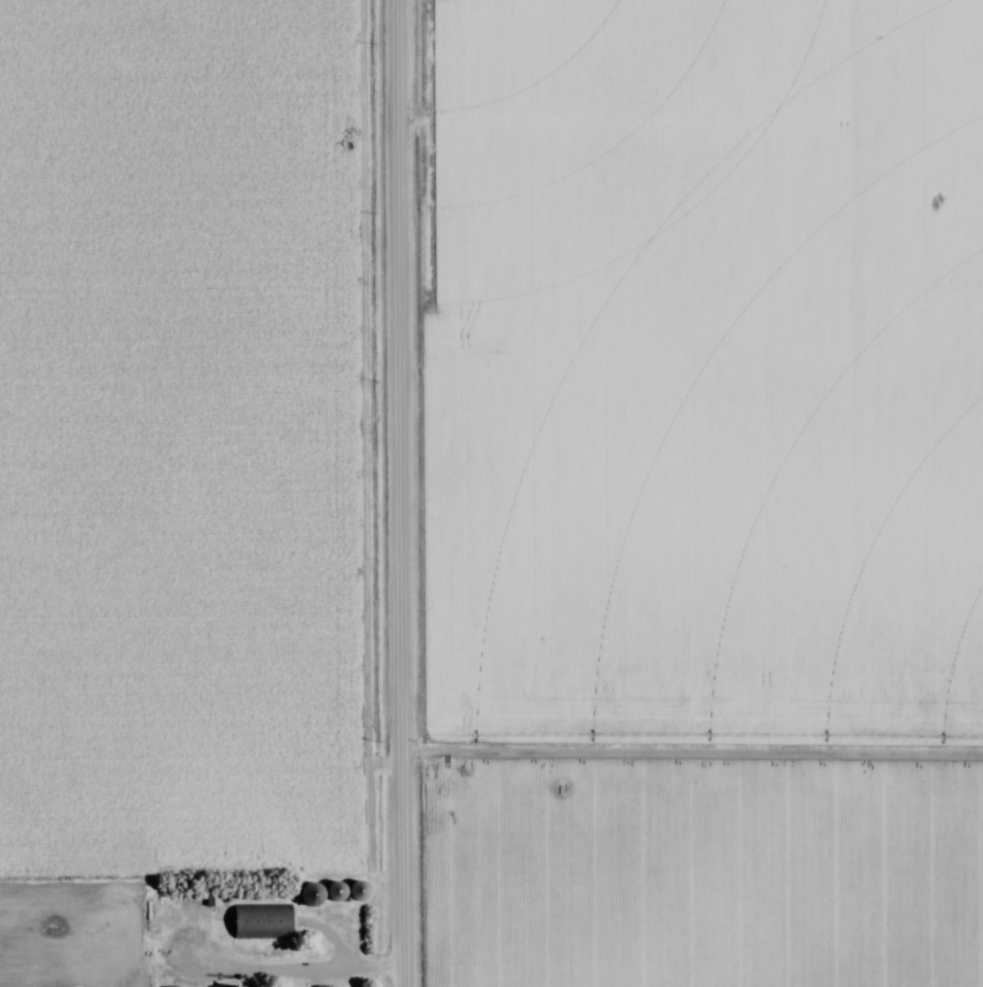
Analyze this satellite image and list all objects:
crop: (178, 433)
road: (391, 493)
crop: (696, 874)
building: (351, 890)
building: (317, 894)
building: (214, 899)
building: (251, 929)
road: (300, 969)
building: (329, 985)
building: (173, 986)
building: (230, 986)

